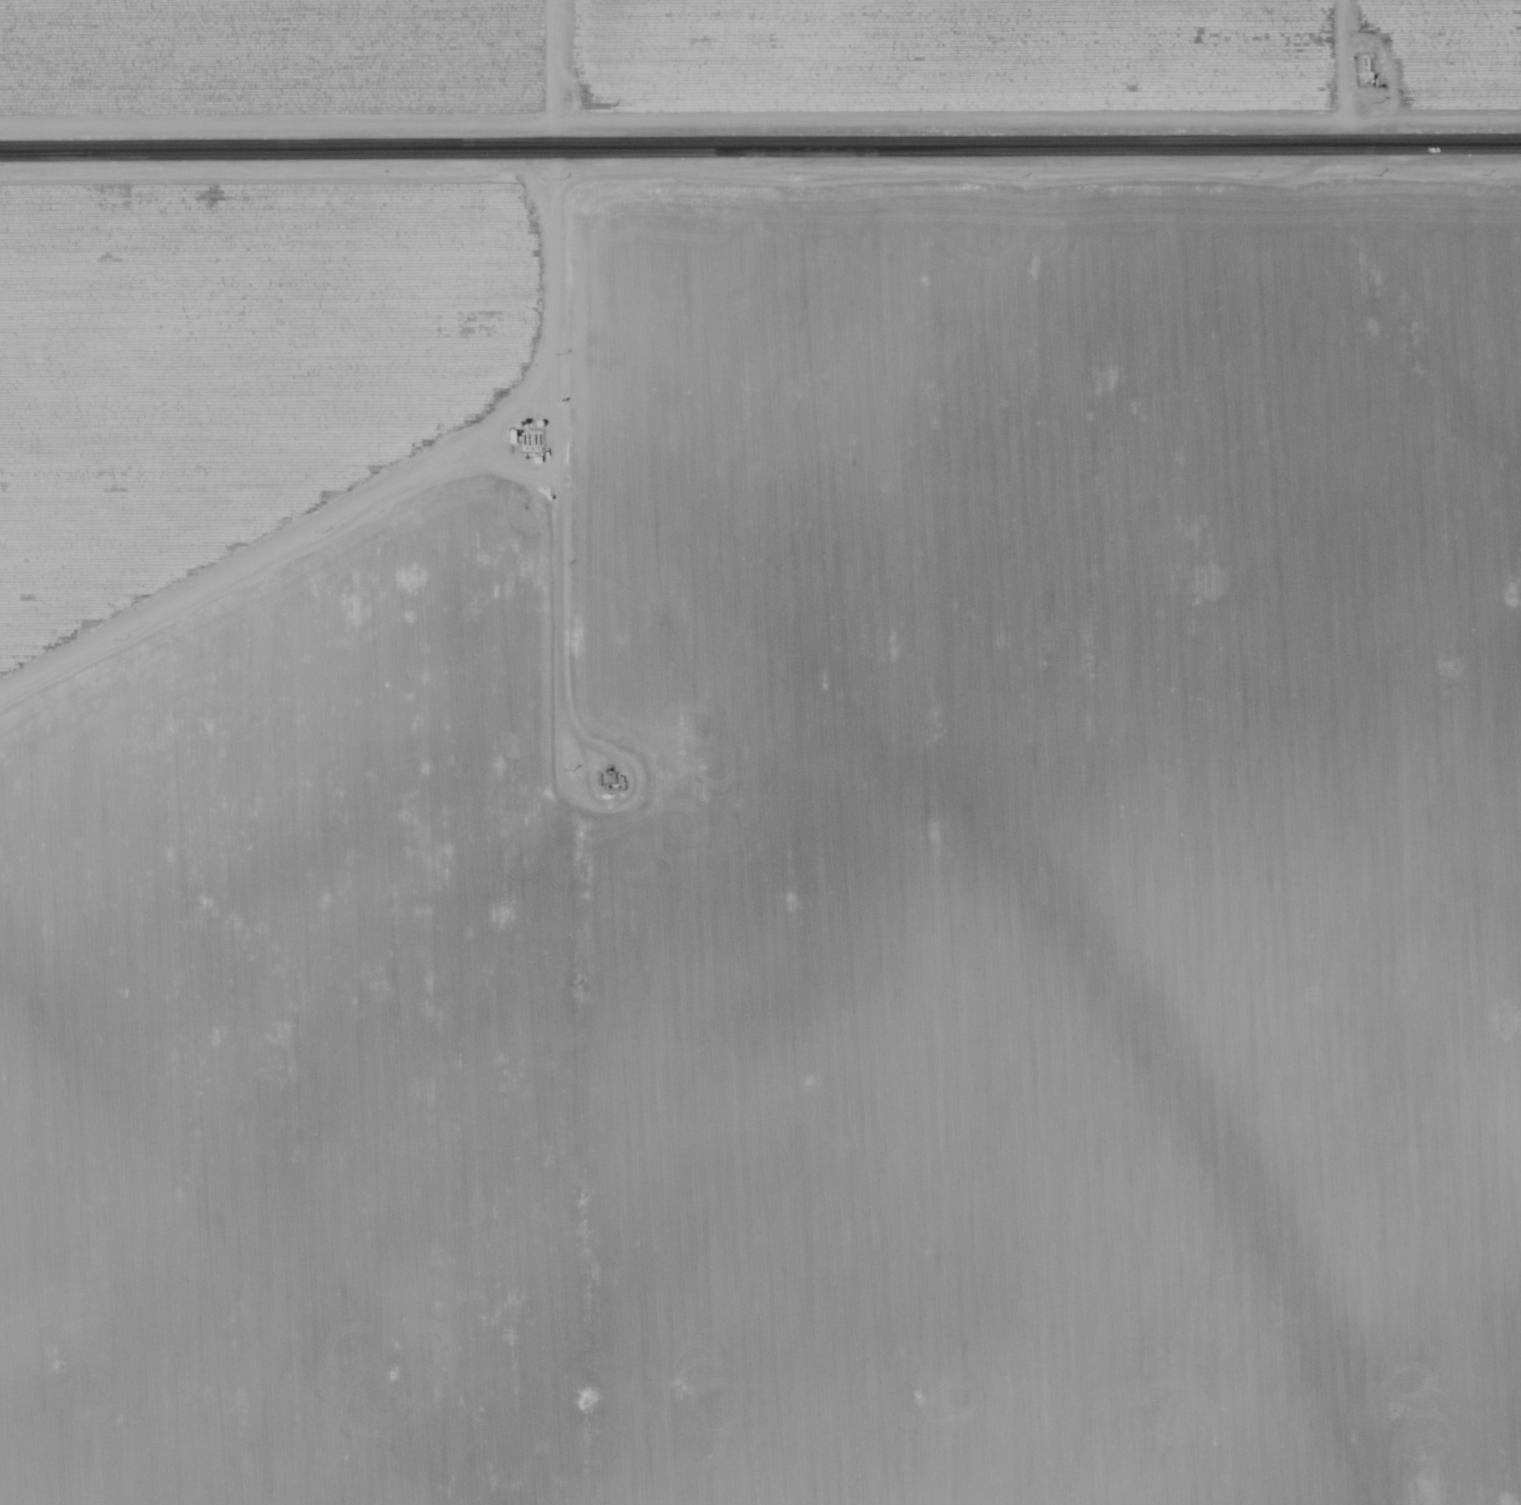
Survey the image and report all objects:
crop: (277, 57)
crop: (1040, 58)
road: (760, 149)
crop: (1045, 846)
crop: (285, 852)

